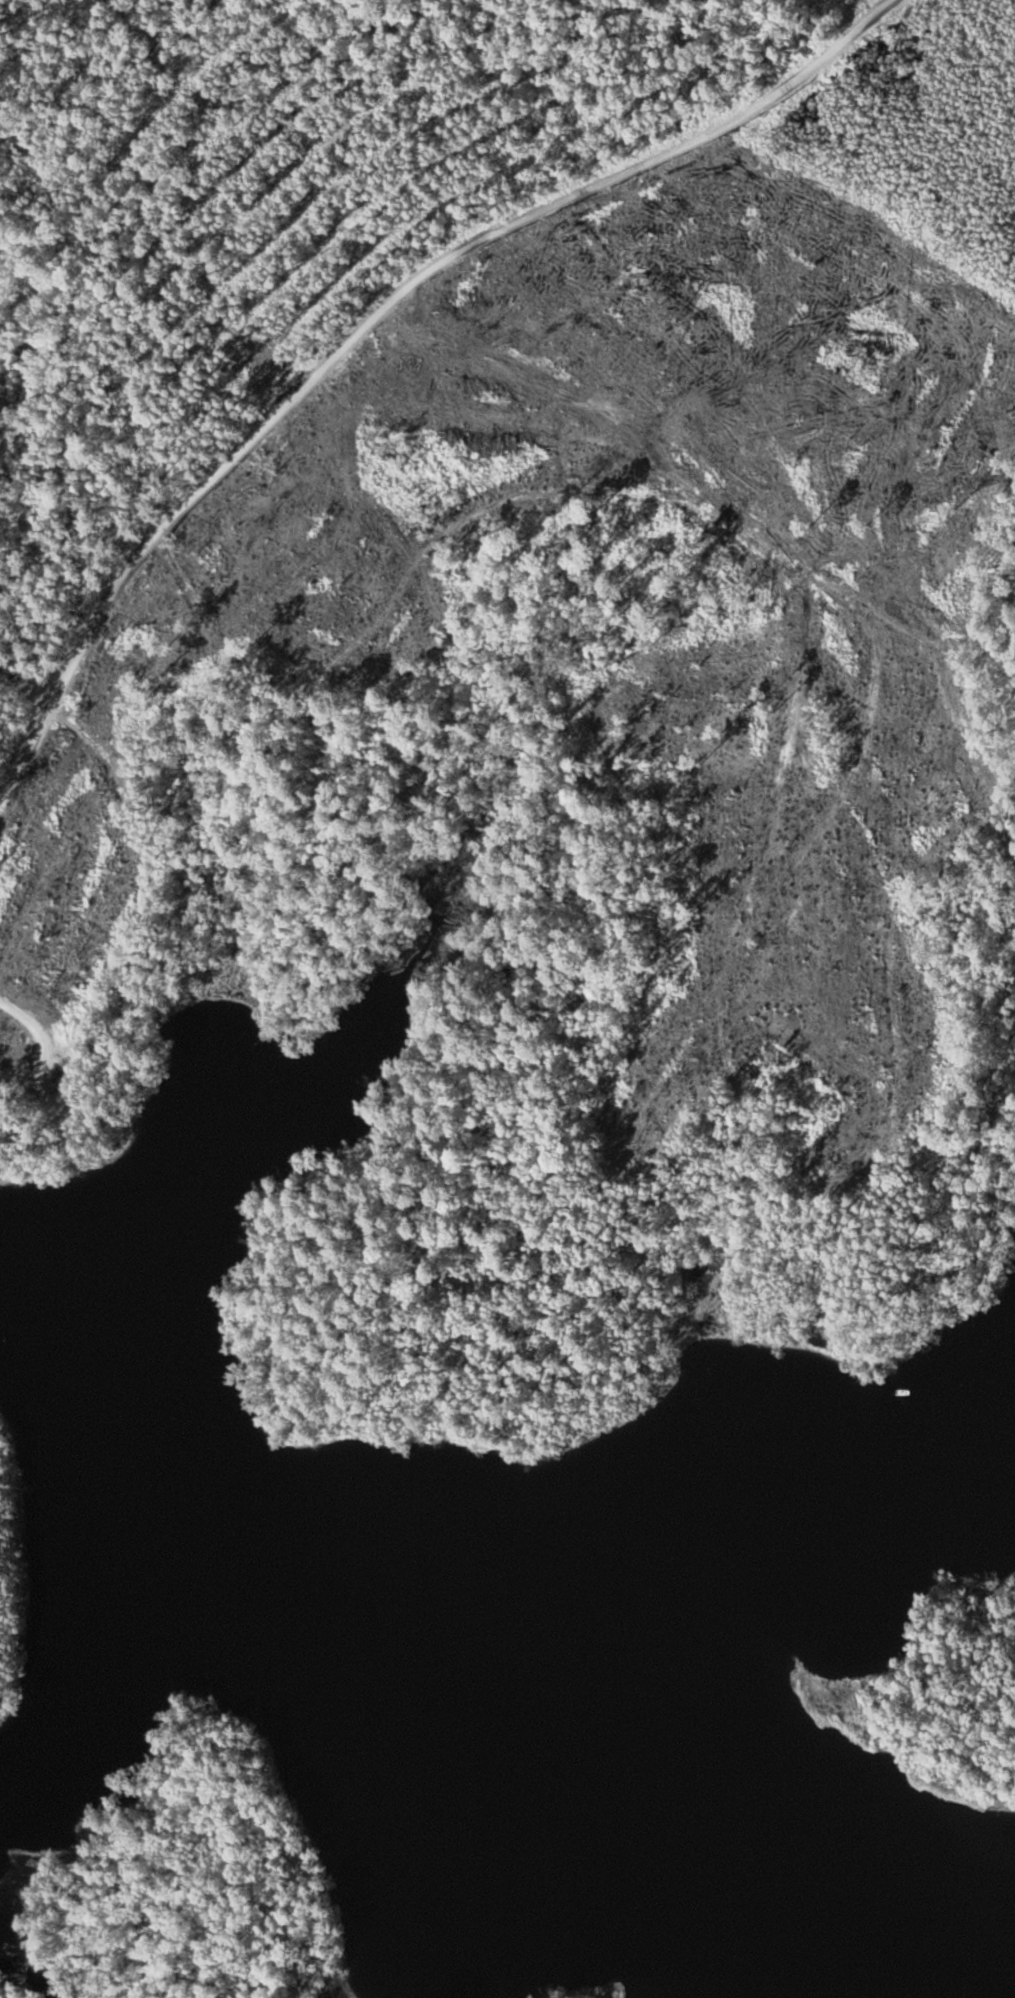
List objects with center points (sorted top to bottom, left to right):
road: (365, 322)
road: (45, 1042)

